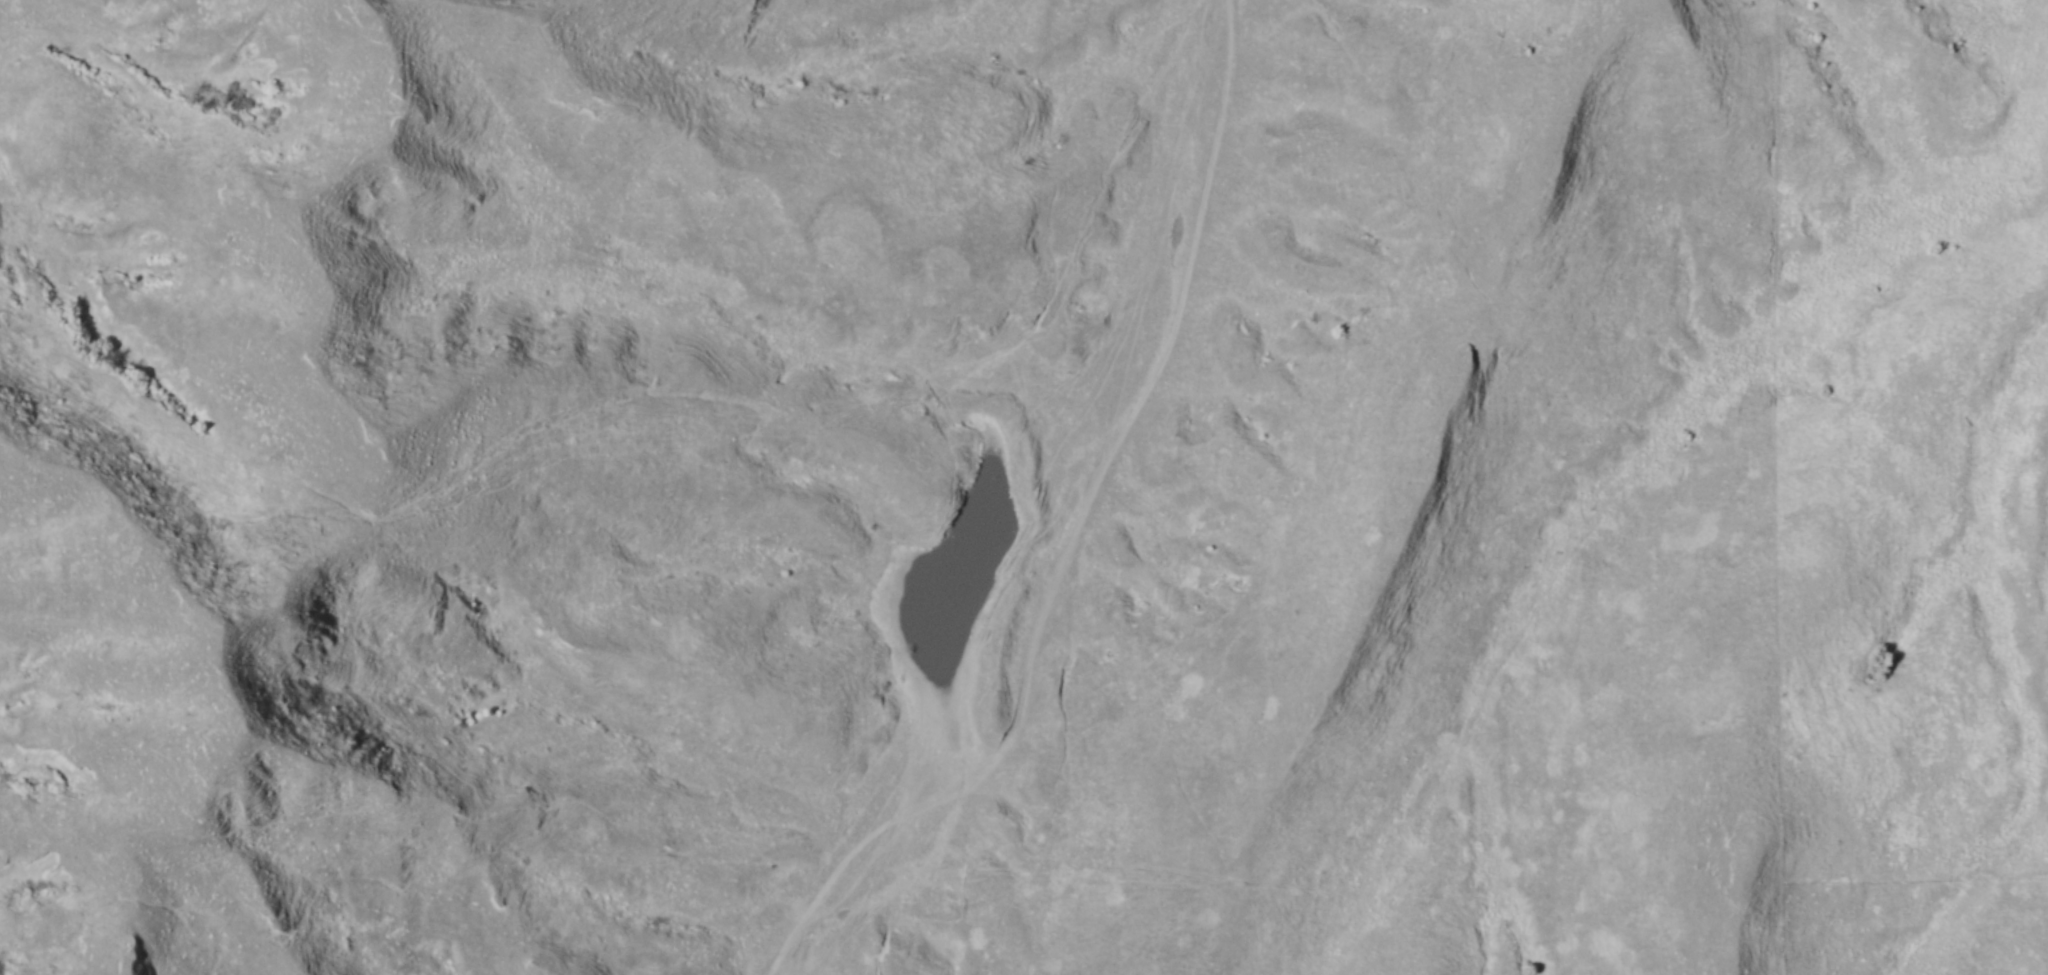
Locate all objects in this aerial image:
road: (1072, 532)

